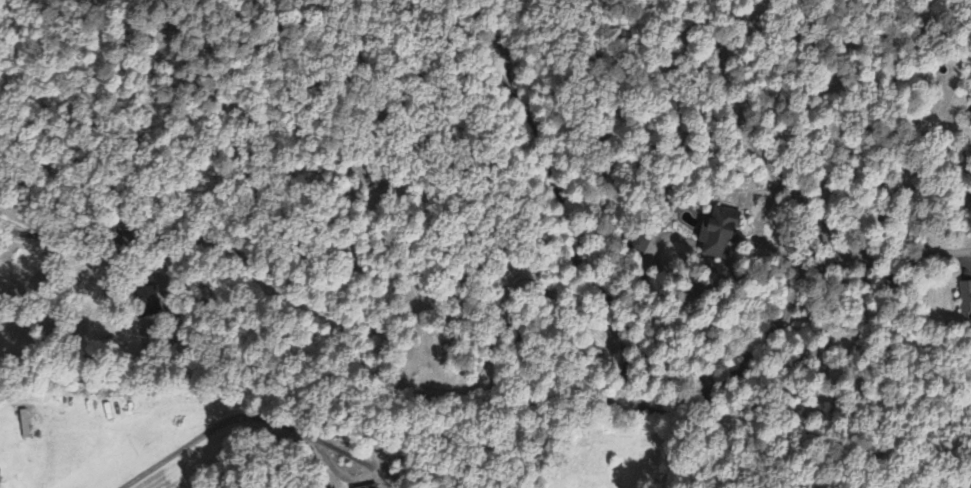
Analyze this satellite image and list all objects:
building: (970, 120)
road: (755, 140)
road: (569, 218)
building: (718, 234)
road: (67, 239)
building: (646, 247)
building: (965, 299)
road: (779, 320)
road: (425, 384)
building: (370, 487)

